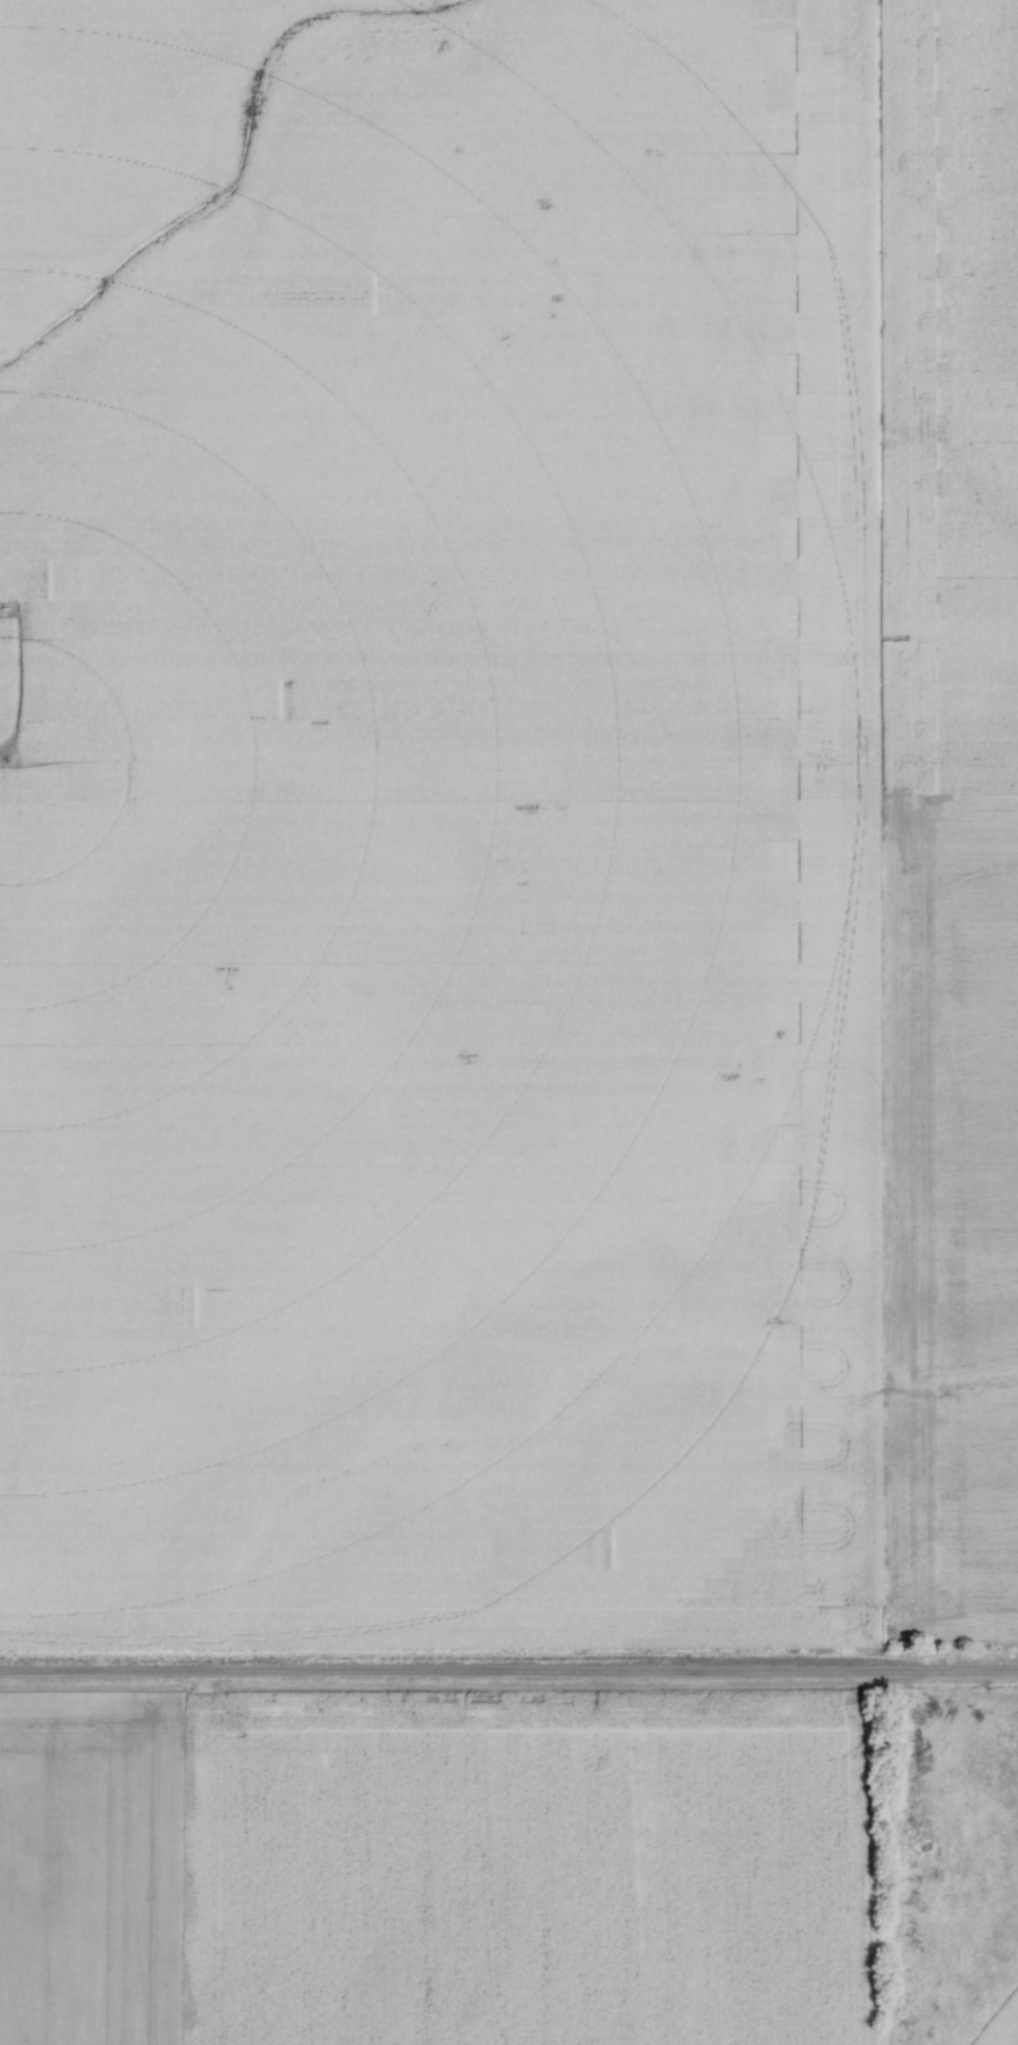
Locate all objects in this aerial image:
road: (509, 1675)

